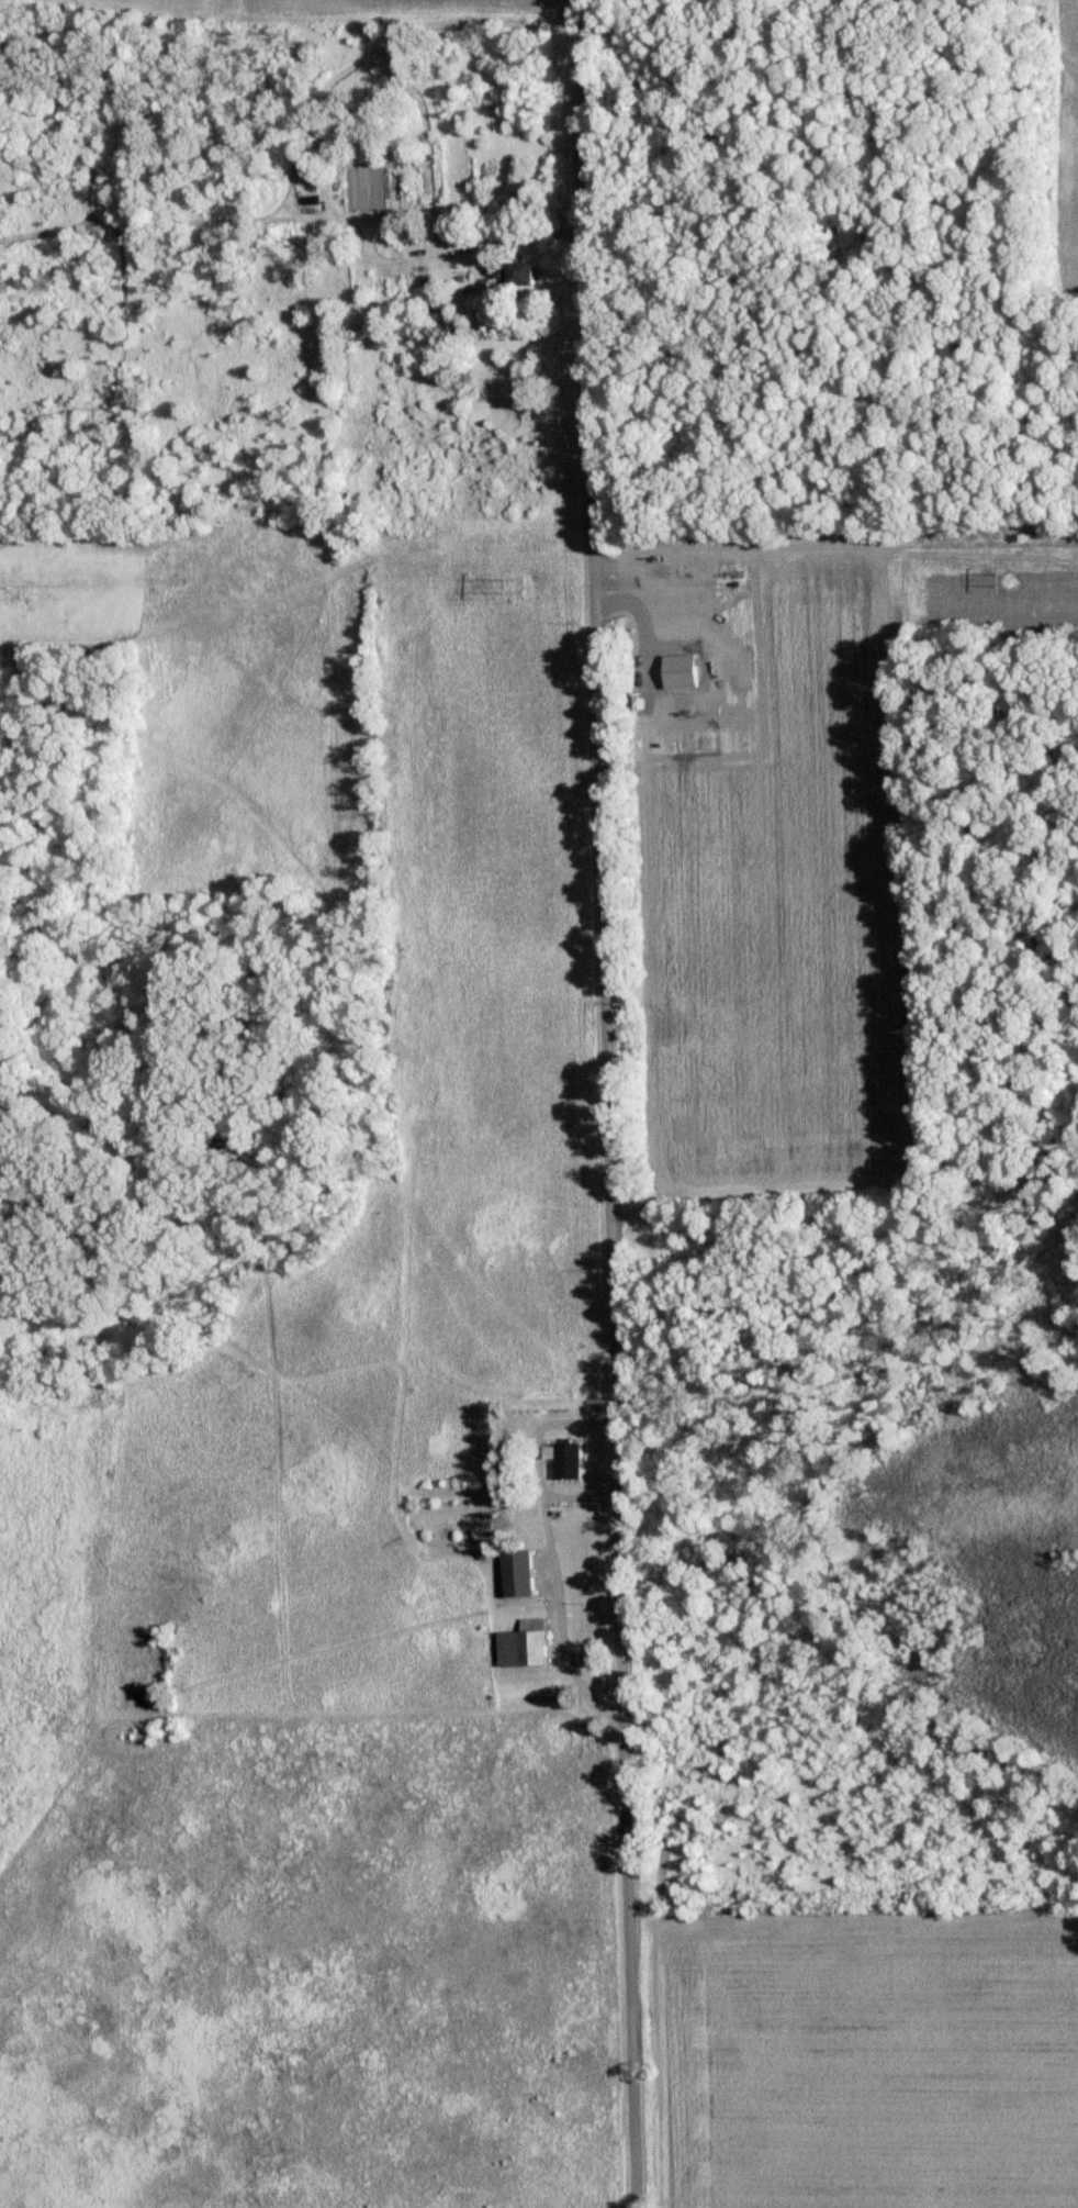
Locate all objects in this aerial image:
power tower: (1003, 582)
power tower: (13, 586)
power tower: (532, 590)
road: (602, 1103)
building: (563, 1459)
building: (514, 1573)
building: (521, 1643)

